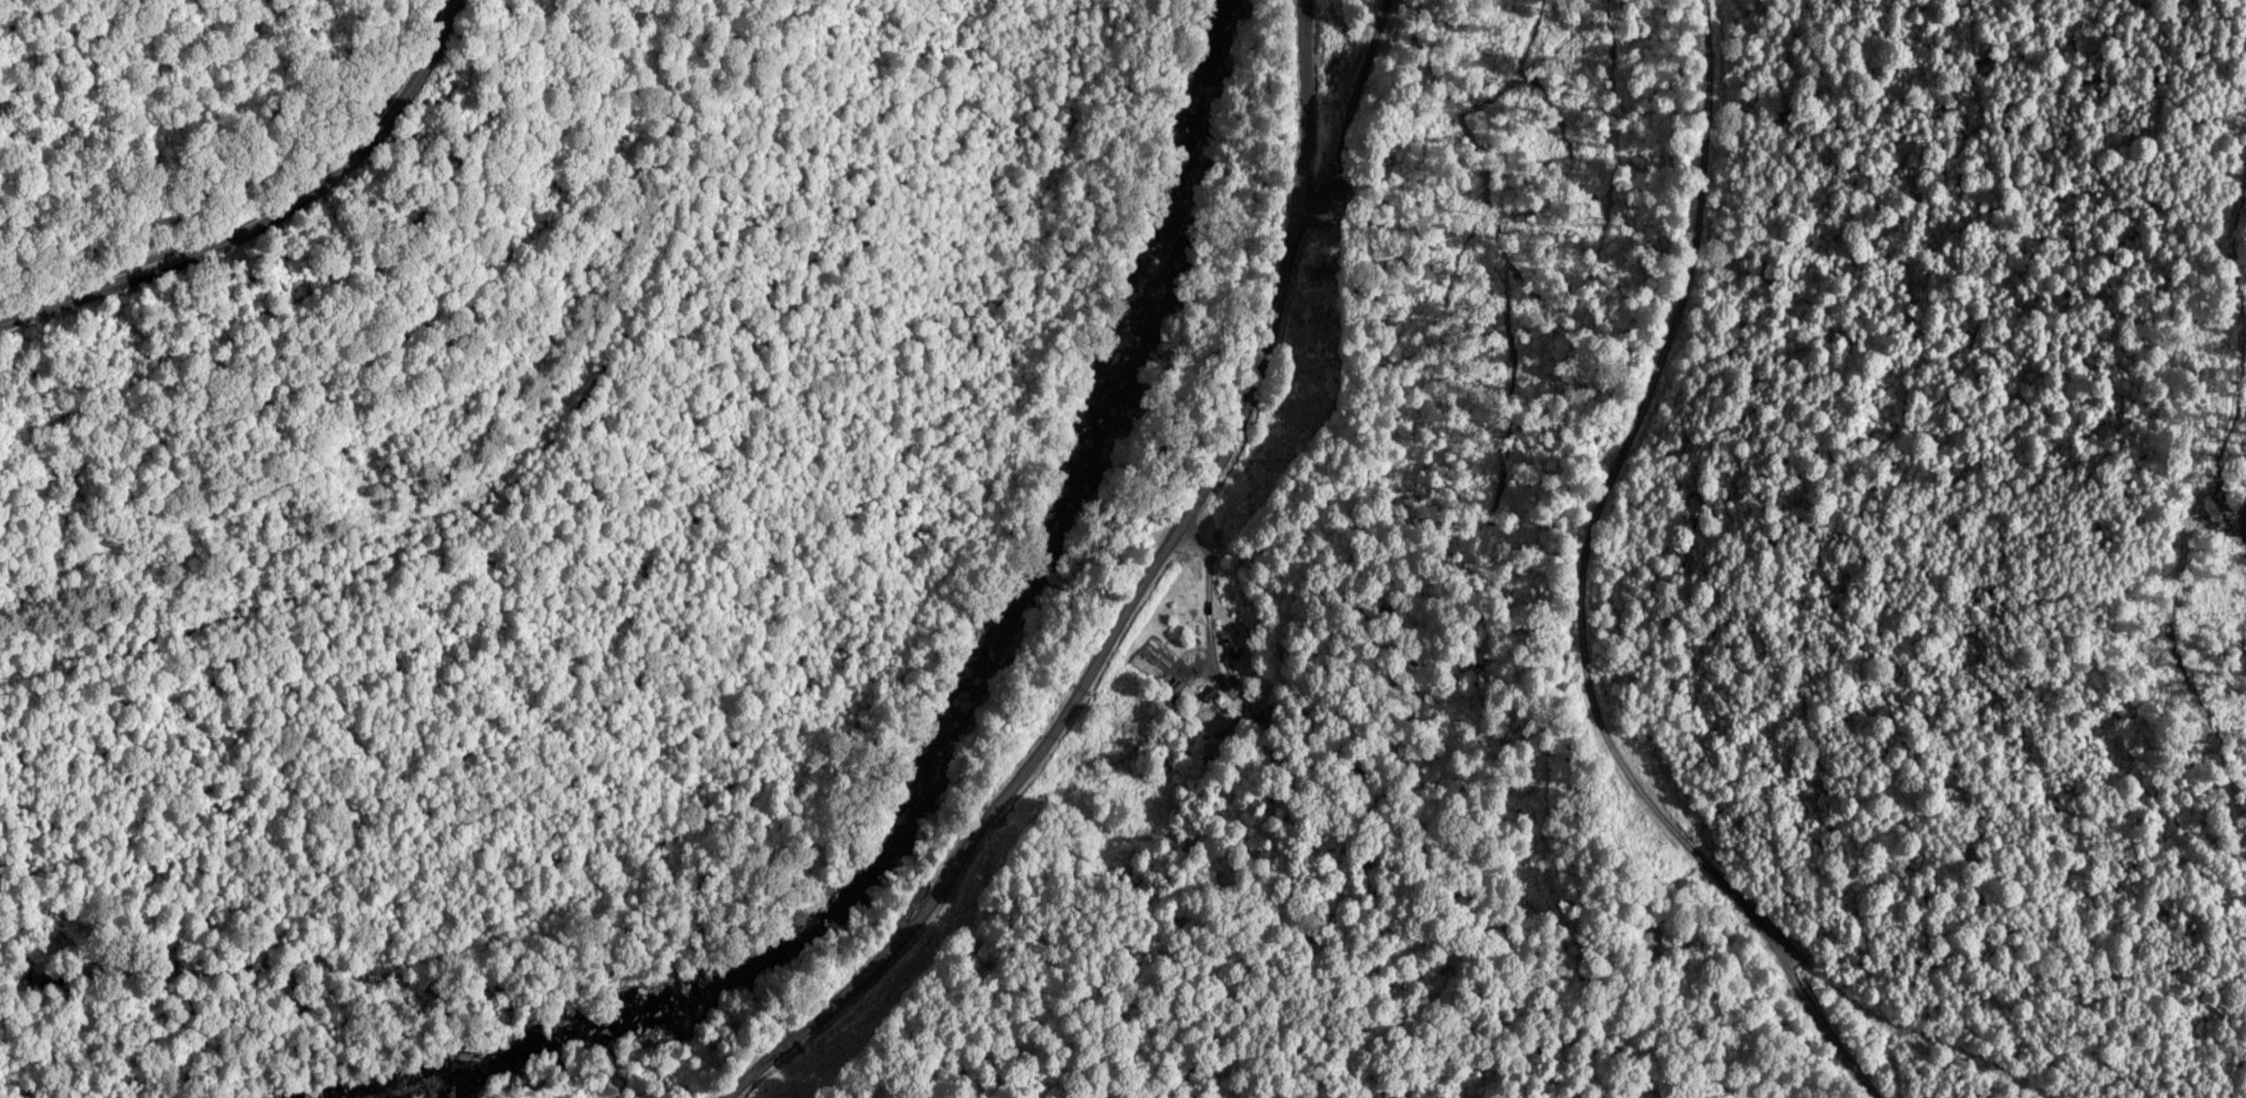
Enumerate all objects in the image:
road: (1348, 109)
road: (266, 211)
road: (1130, 601)

